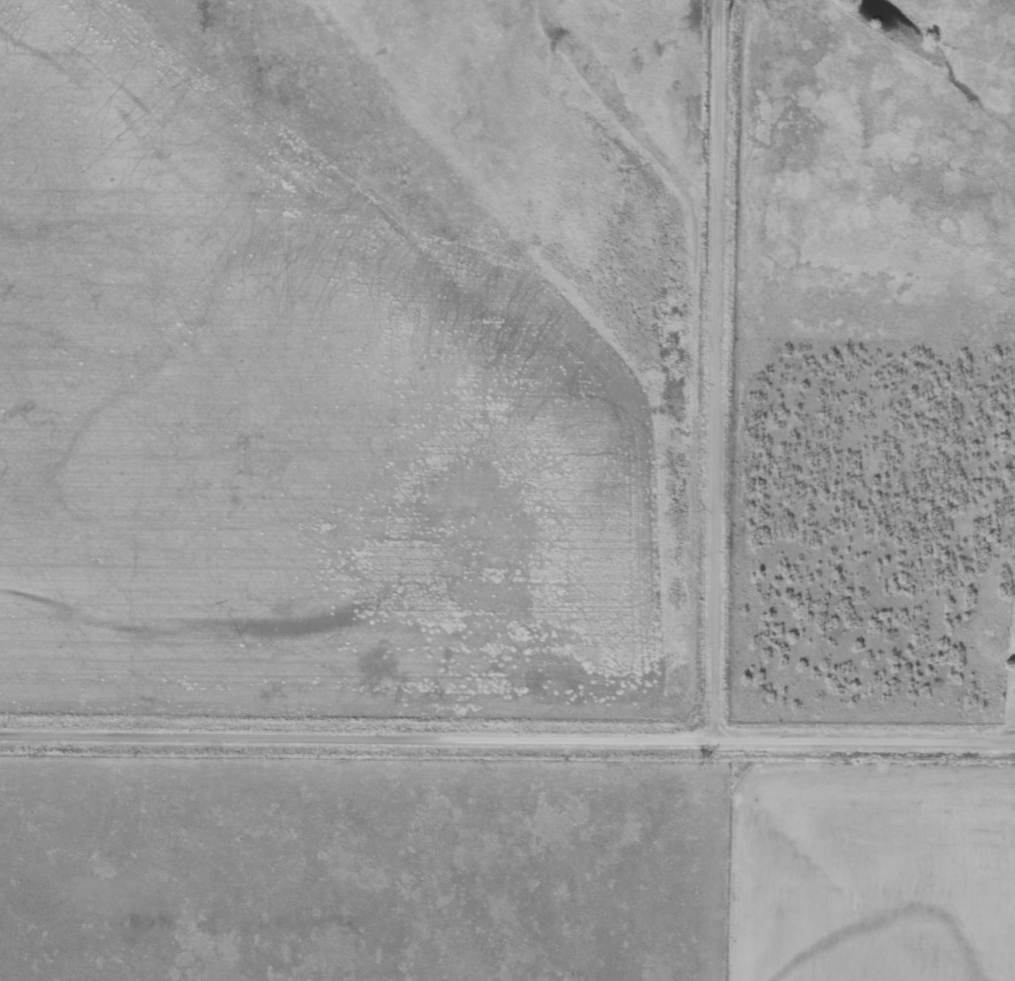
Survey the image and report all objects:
road: (717, 368)
road: (358, 734)
road: (866, 738)

